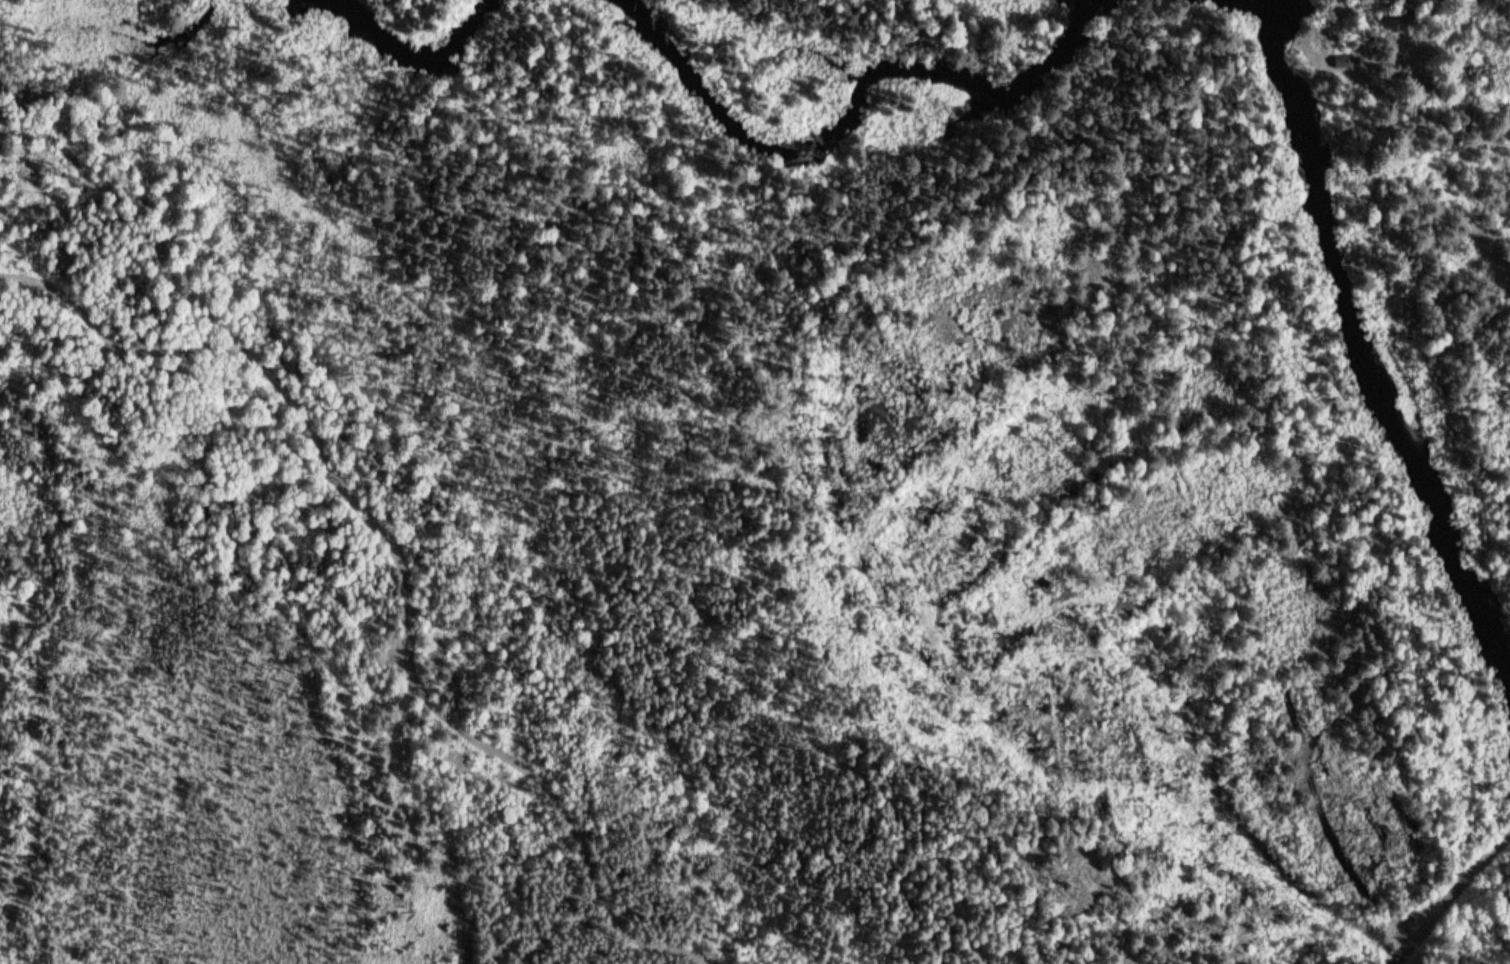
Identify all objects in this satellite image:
river: (416, 29)
river: (907, 73)
river: (1374, 310)
road: (1311, 769)
road: (1451, 900)

